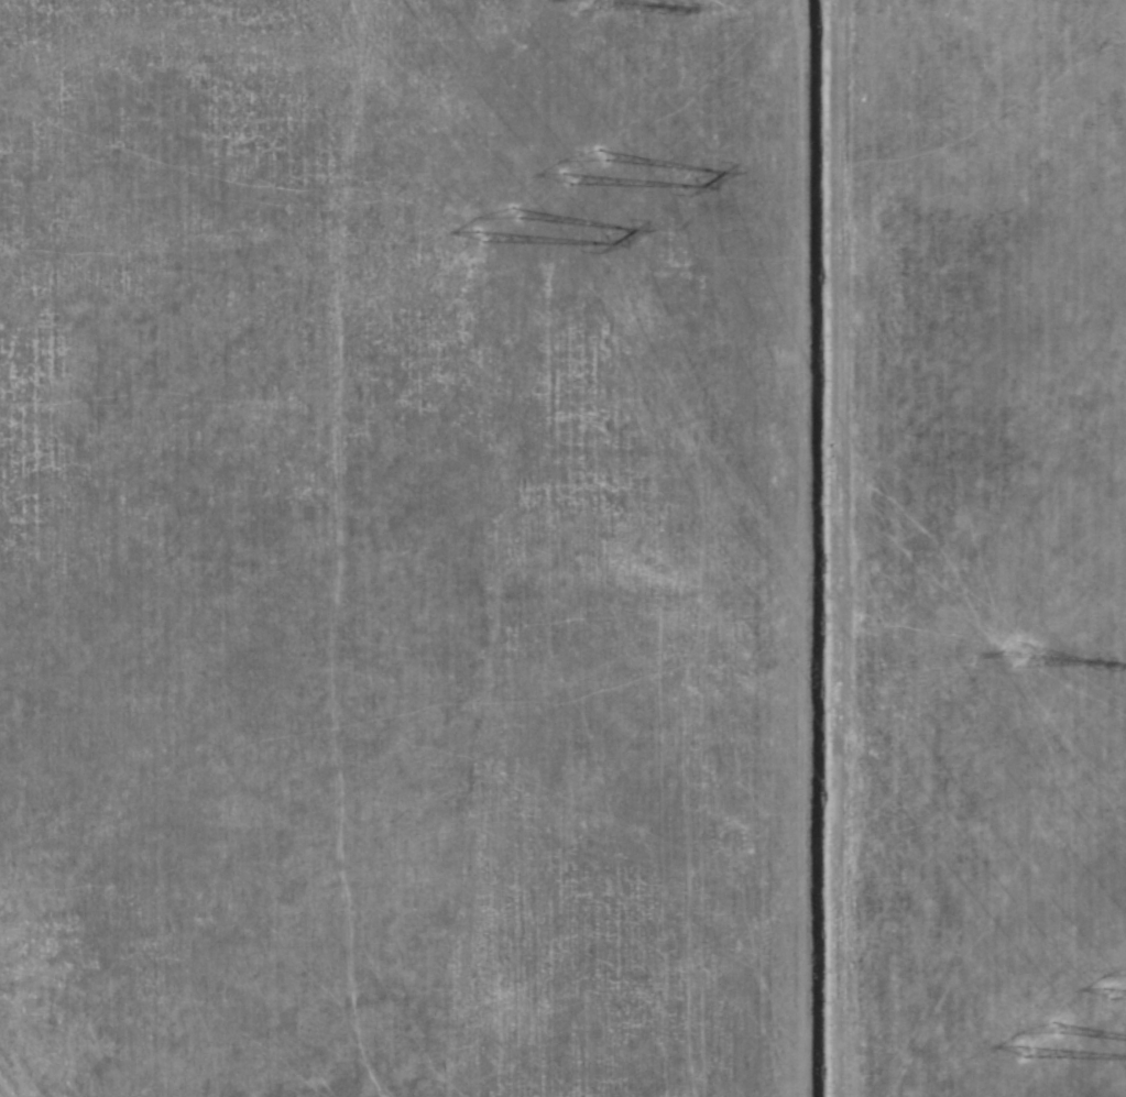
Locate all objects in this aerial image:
power tower: (579, 163)
power tower: (505, 233)
road: (823, 548)
power tower: (1026, 654)
power tower: (1123, 984)
power tower: (1048, 1055)
road: (10, 1080)

